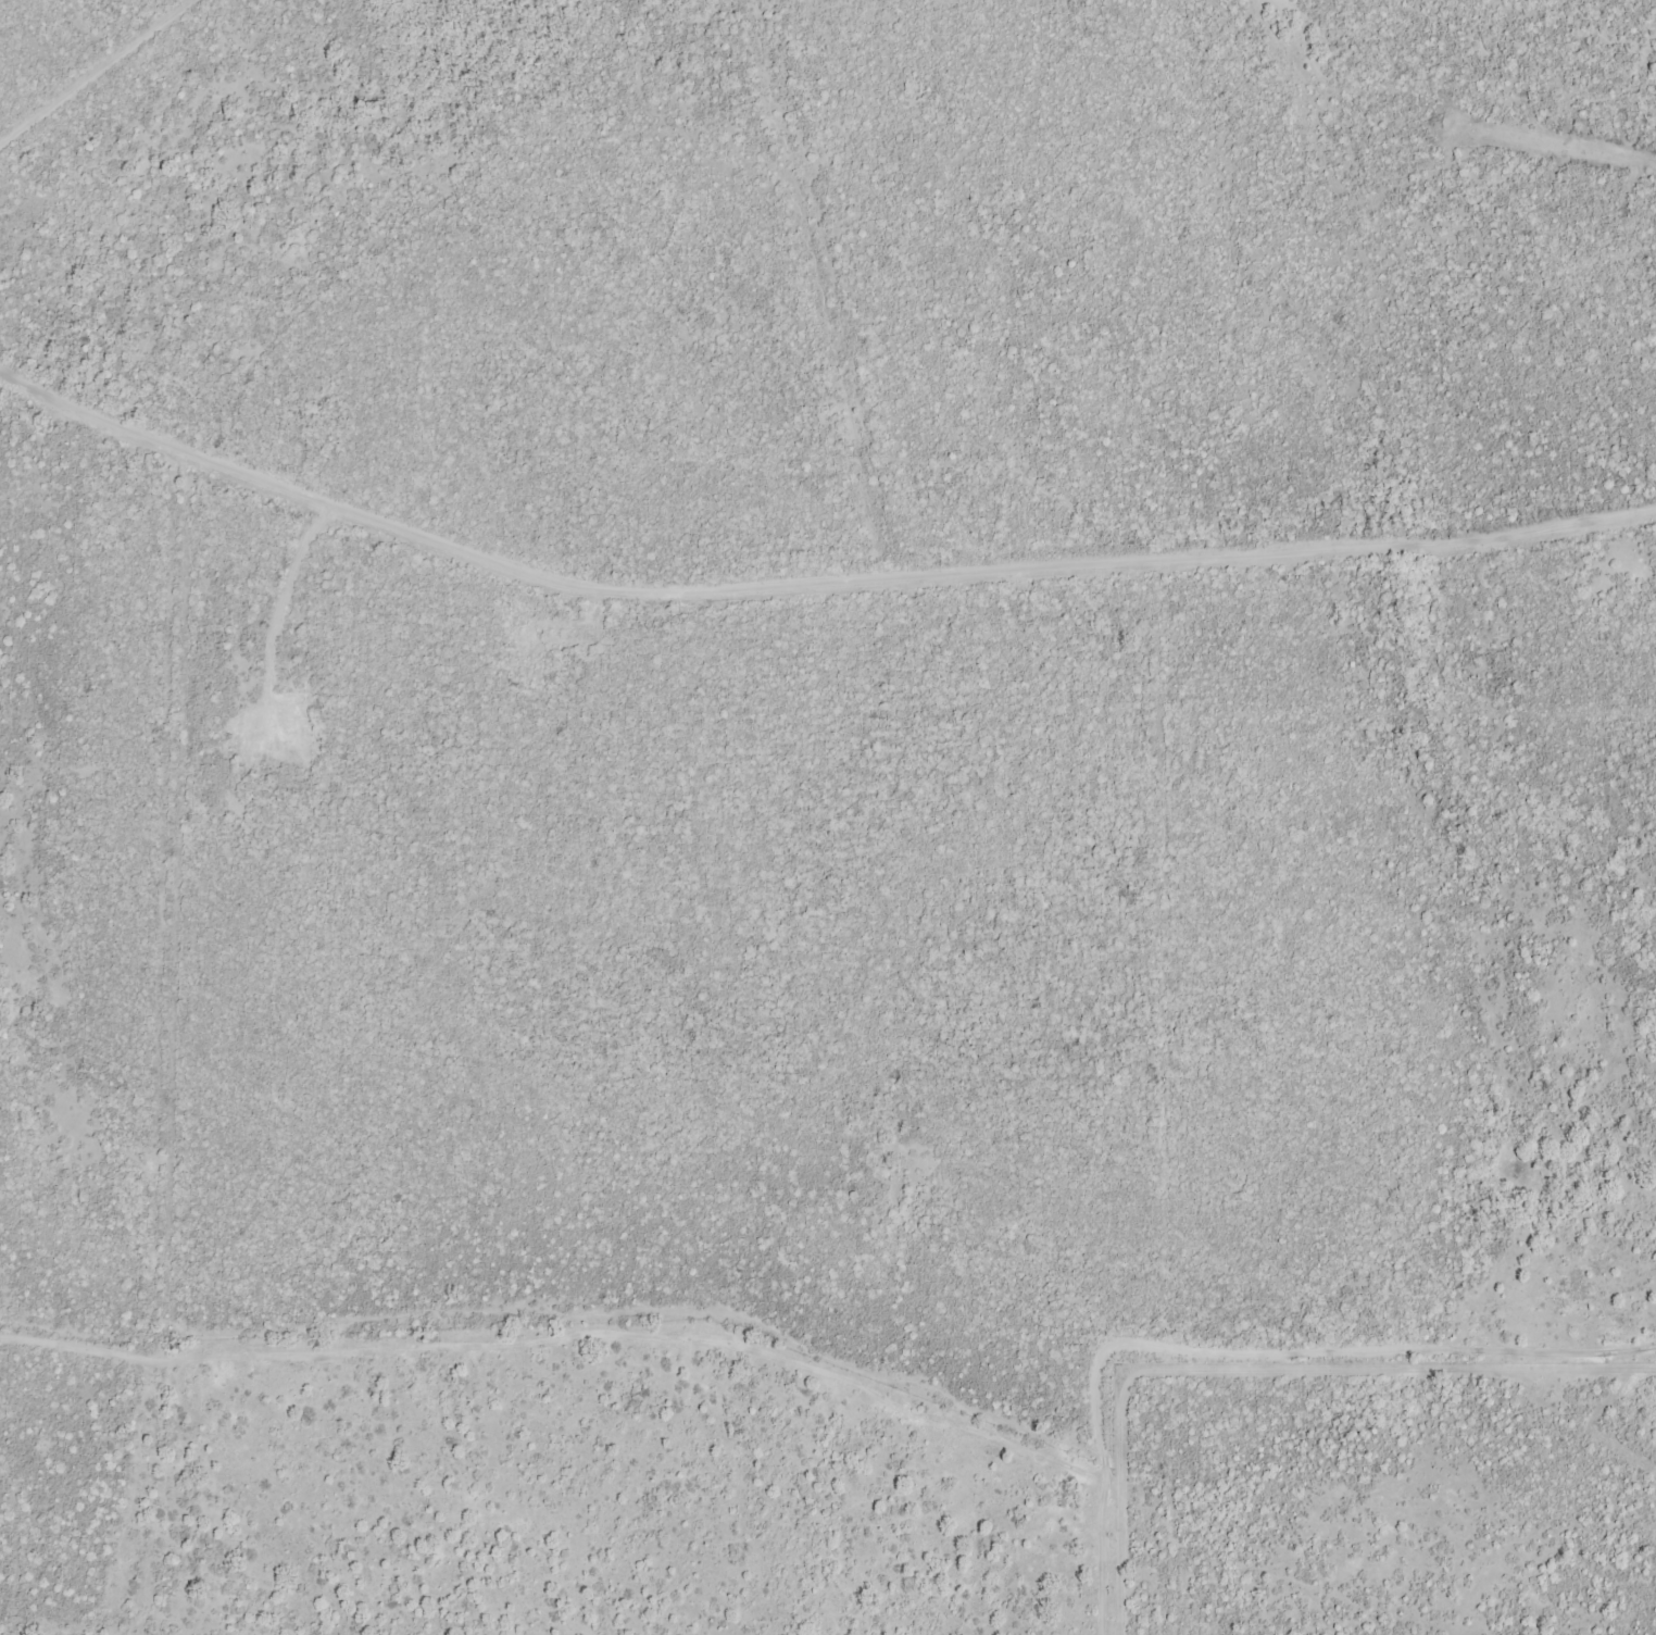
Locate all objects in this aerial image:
road: (111, 80)
road: (808, 584)

